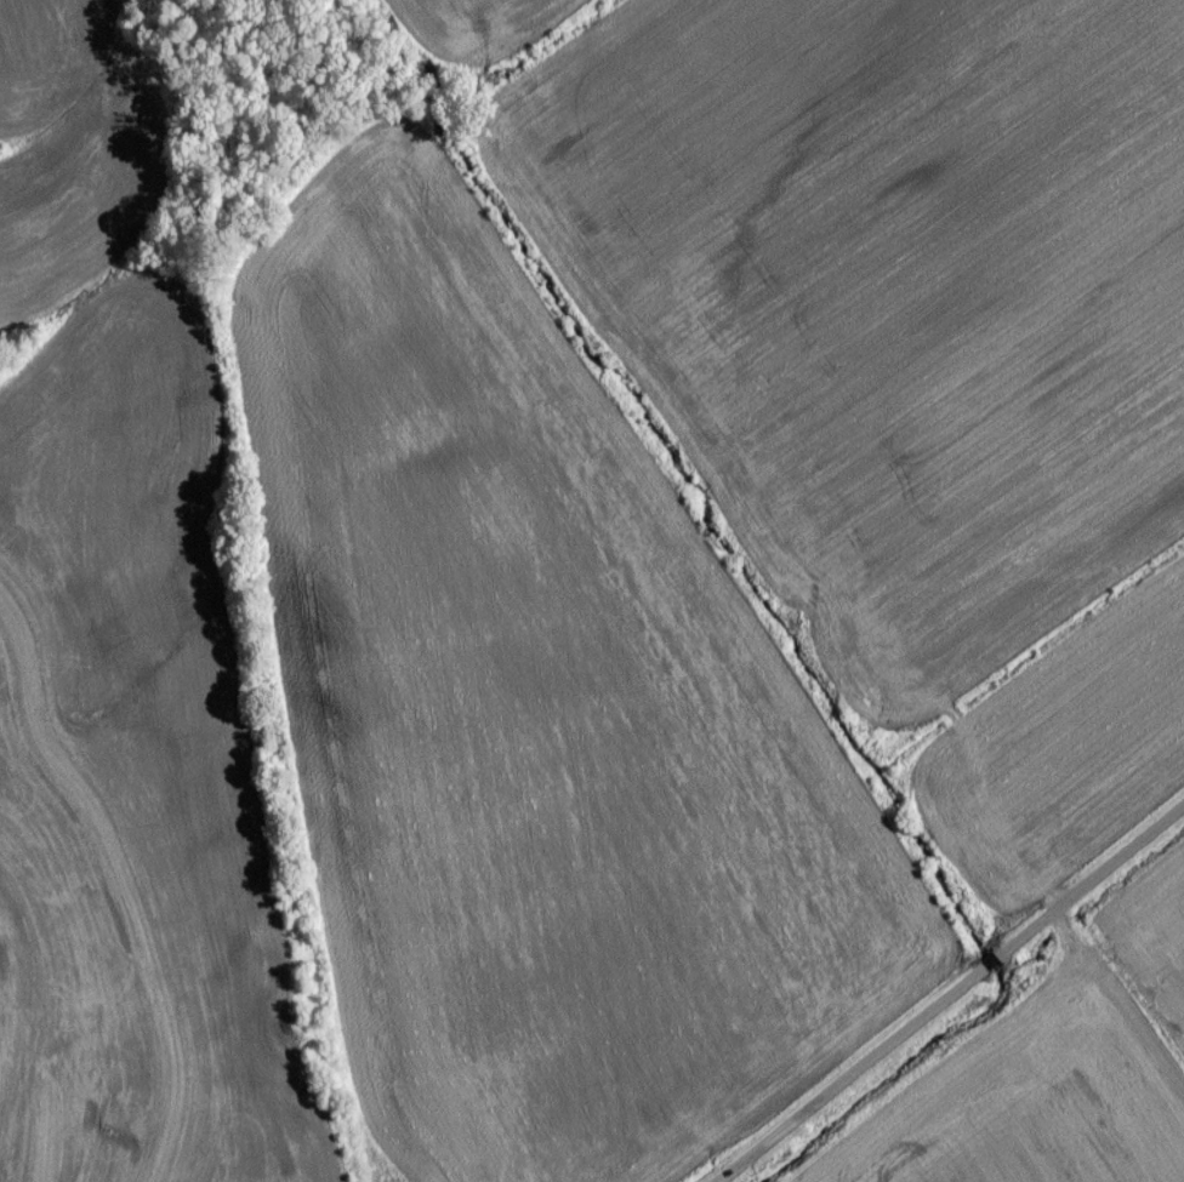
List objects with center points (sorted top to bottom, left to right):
road: (937, 988)

